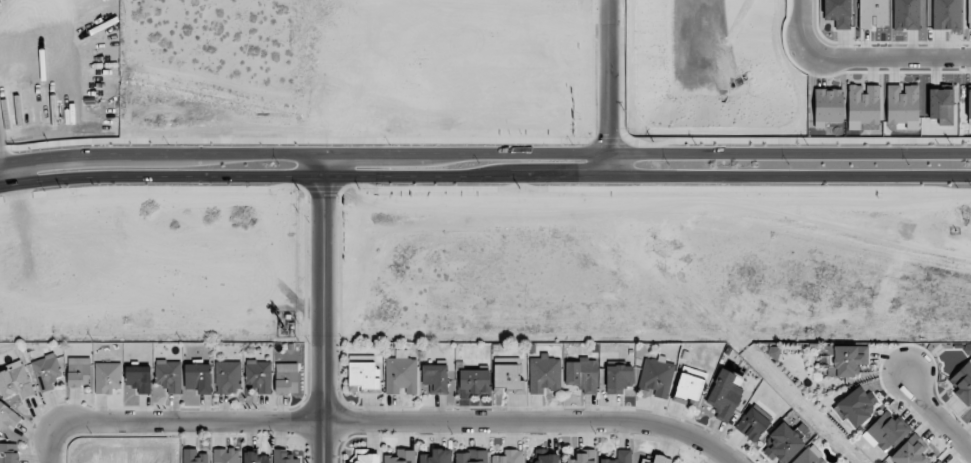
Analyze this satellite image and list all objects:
building: (969, 13)
building: (906, 15)
road: (415, 16)
road: (861, 62)
road: (613, 90)
building: (902, 103)
building: (968, 104)
building: (941, 105)
building: (827, 106)
building: (863, 106)
road: (485, 156)
road: (485, 180)
road: (322, 322)
building: (847, 360)
building: (46, 372)
building: (78, 372)
building: (364, 374)
building: (400, 374)
building: (544, 374)
building: (582, 374)
building: (169, 375)
building: (259, 376)
building: (507, 376)
building: (657, 376)
building: (107, 377)
building: (197, 377)
building: (227, 377)
building: (138, 378)
building: (286, 378)
building: (435, 378)
building: (15, 381)
building: (473, 381)
building: (962, 382)
building: (689, 384)
building: (724, 395)
building: (856, 406)
road: (938, 416)
building: (8, 417)
road: (397, 419)
building: (753, 423)
building: (884, 431)
building: (784, 442)
road: (54, 446)
building: (910, 451)
building: (9, 453)
building: (225, 455)
building: (194, 456)
building: (366, 456)
building: (437, 456)
building: (470, 456)
building: (545, 456)
building: (809, 456)
building: (255, 457)
building: (283, 457)
building: (401, 457)
building: (509, 457)
building: (582, 457)
building: (619, 457)
building: (656, 460)
building: (937, 461)

